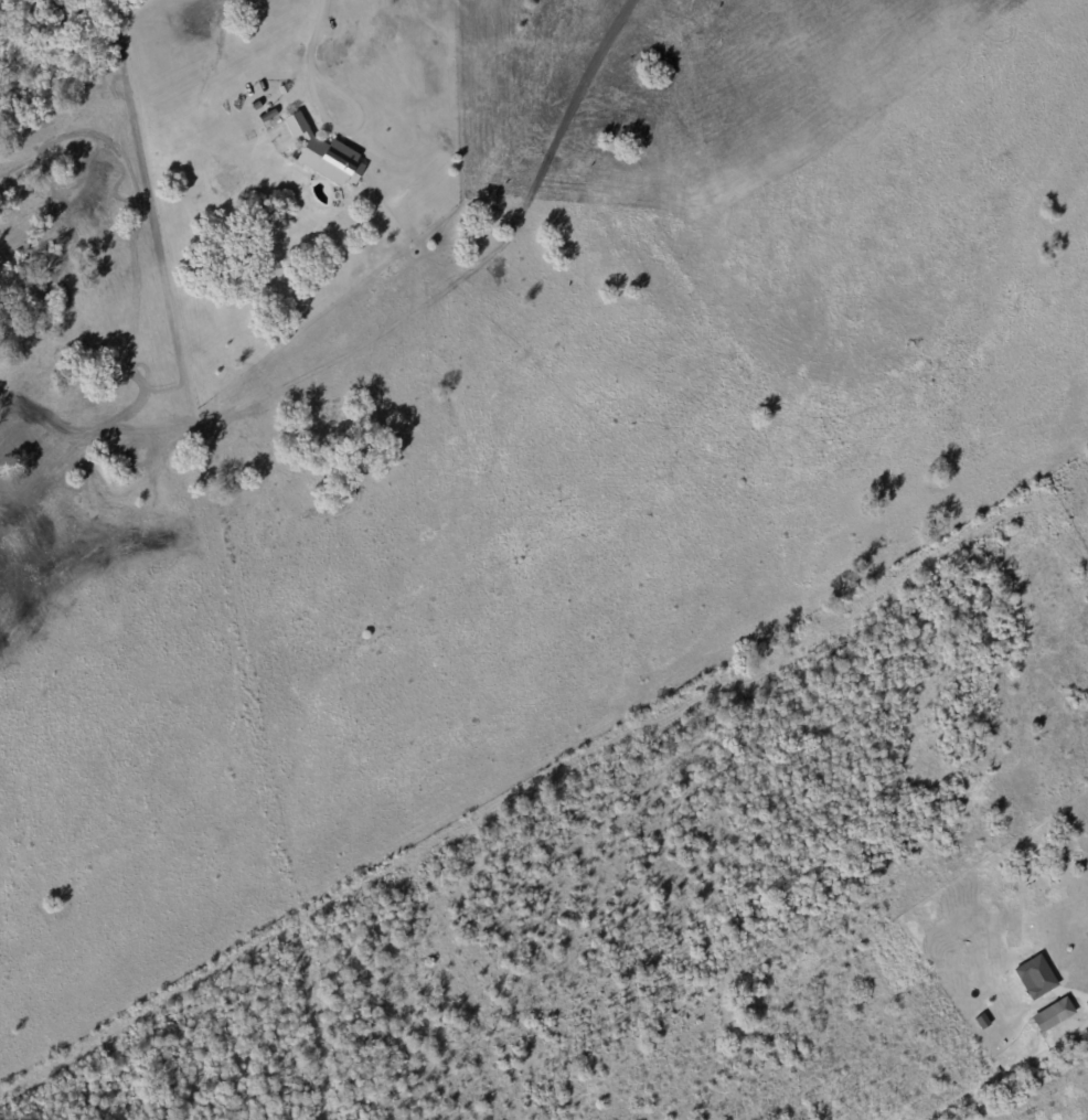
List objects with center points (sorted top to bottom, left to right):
road: (317, 55)
building: (329, 156)
building: (1032, 977)
building: (1048, 1015)
building: (983, 1022)

